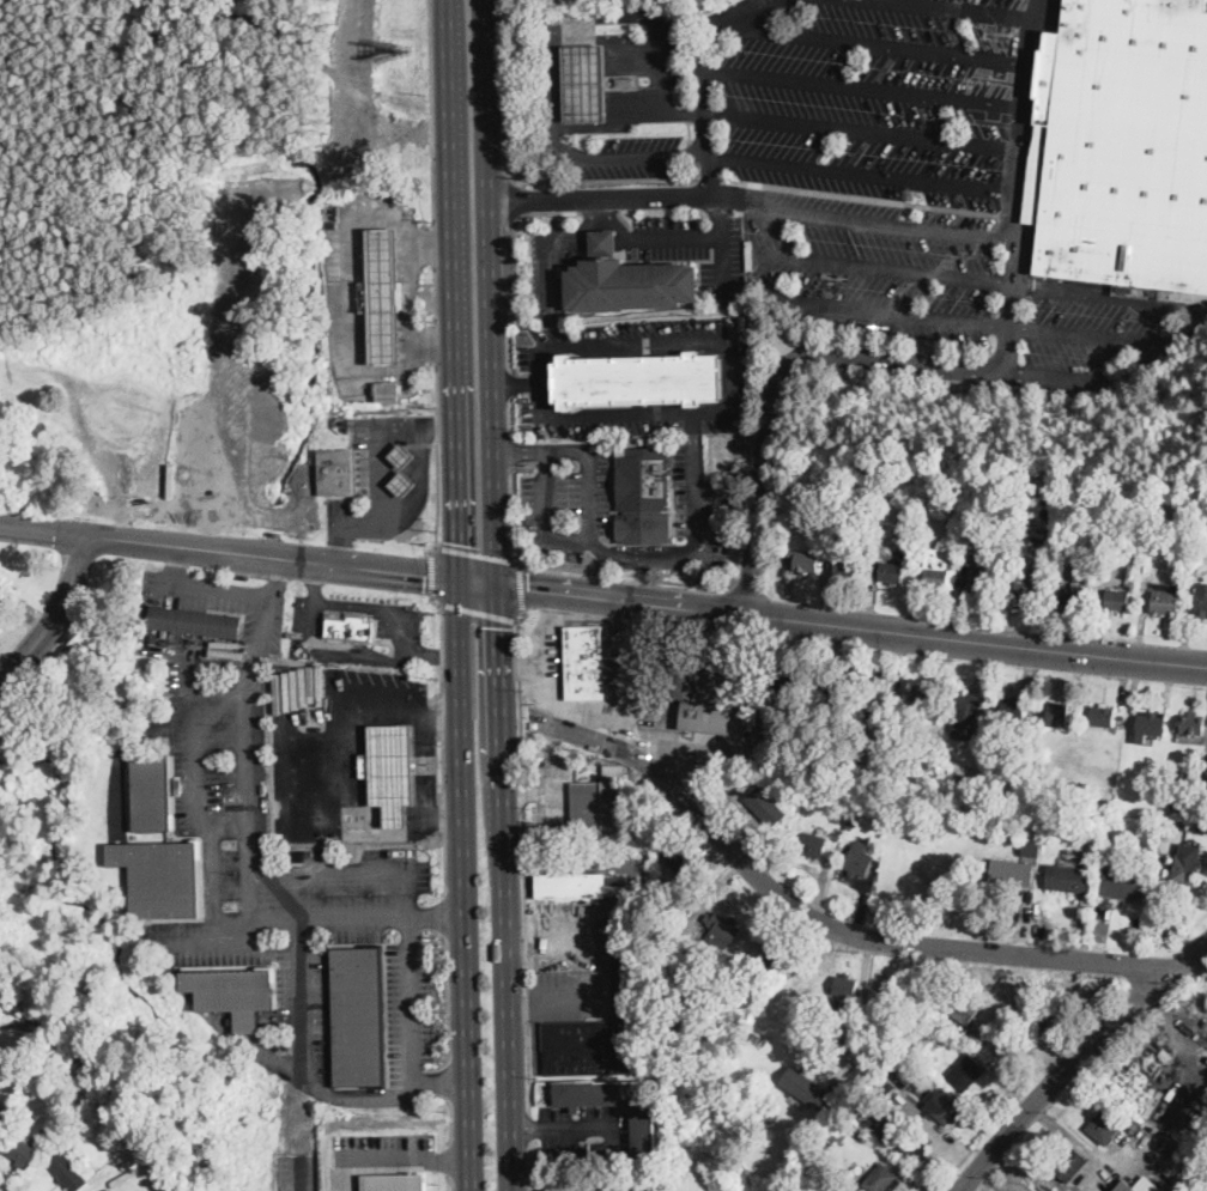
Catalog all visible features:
road: (959, 8)
road: (744, 22)
road: (576, 38)
road: (879, 44)
building: (625, 81)
building: (583, 83)
gas station: (583, 83)
road: (502, 85)
road: (863, 89)
road: (431, 111)
road: (629, 117)
road: (862, 129)
building: (1122, 145)
road: (630, 154)
parking lot: (633, 158)
road: (862, 172)
road: (709, 178)
road: (568, 180)
parking lot: (909, 182)
road: (675, 193)
road: (509, 194)
road: (860, 196)
road: (720, 212)
road: (1011, 214)
road: (601, 215)
road: (1021, 217)
road: (861, 219)
road: (625, 236)
road: (432, 244)
building: (606, 244)
road: (512, 260)
road: (884, 266)
building: (636, 282)
road: (450, 290)
road: (435, 291)
road: (491, 293)
building: (383, 297)
gas station: (383, 297)
road: (888, 310)
road: (1195, 323)
road: (352, 336)
road: (433, 339)
road: (436, 340)
road: (946, 365)
road: (733, 376)
road: (1055, 376)
building: (635, 378)
road: (509, 381)
road: (516, 383)
building: (10, 388)
road: (437, 388)
building: (387, 391)
road: (510, 414)
road: (437, 425)
road: (695, 429)
road: (510, 449)
road: (377, 452)
road: (520, 452)
building: (402, 456)
gas station: (402, 456)
building: (336, 472)
building: (402, 484)
building: (642, 494)
road: (728, 498)
road: (438, 500)
building: (927, 502)
road: (410, 505)
building: (848, 505)
road: (590, 518)
building: (824, 523)
building: (1199, 524)
road: (43, 529)
building: (1199, 534)
building: (824, 536)
building: (1156, 539)
traffic signals: (455, 542)
building: (972, 549)
road: (475, 553)
road: (272, 555)
building: (806, 561)
road: (176, 564)
building: (1080, 564)
building: (848, 566)
building: (885, 570)
road: (581, 571)
building: (936, 571)
traffic signals: (424, 575)
road: (431, 575)
road: (278, 578)
road: (315, 582)
building: (1029, 582)
road: (477, 583)
building: (984, 583)
road: (521, 588)
traffic signals: (529, 589)
road: (244, 591)
building: (1072, 594)
building: (1117, 598)
building: (1166, 598)
building: (1201, 601)
road: (478, 610)
road: (56, 615)
road: (442, 619)
building: (195, 621)
building: (348, 626)
traffic signals: (499, 626)
road: (851, 626)
road: (540, 644)
road: (430, 655)
road: (442, 656)
road: (402, 657)
building: (584, 662)
road: (443, 681)
building: (835, 687)
building: (877, 693)
building: (924, 694)
building: (708, 697)
building: (1166, 699)
building: (1015, 710)
road: (547, 711)
road: (615, 715)
building: (966, 715)
building: (1059, 715)
building: (1103, 716)
road: (443, 717)
building: (1193, 723)
building: (1150, 724)
building: (887, 745)
building: (948, 747)
road: (443, 770)
road: (339, 771)
building: (394, 771)
building: (152, 792)
building: (833, 795)
building: (860, 803)
building: (878, 803)
building: (1203, 803)
building: (1183, 804)
building: (601, 806)
building: (765, 807)
road: (443, 818)
building: (848, 824)
building: (1184, 826)
road: (230, 827)
building: (1165, 833)
building: (278, 835)
building: (812, 843)
building: (1031, 847)
road: (213, 856)
building: (681, 856)
road: (522, 857)
building: (859, 858)
road: (248, 863)
road: (445, 863)
building: (1150, 863)
building: (1187, 863)
road: (358, 870)
building: (1012, 873)
building: (159, 877)
building: (1068, 877)
road: (462, 885)
building: (570, 885)
building: (1123, 886)
road: (504, 888)
road: (447, 916)
road: (436, 918)
road: (832, 928)
building: (722, 929)
building: (675, 943)
building: (776, 956)
building: (672, 961)
building: (742, 972)
building: (882, 984)
building: (845, 985)
building: (933, 989)
building: (232, 993)
road: (448, 1001)
building: (962, 1005)
building: (1051, 1008)
building: (357, 1016)
building: (916, 1019)
building: (600, 1031)
building: (754, 1035)
building: (1031, 1035)
building: (861, 1044)
road: (1081, 1059)
building: (865, 1065)
building: (918, 1068)
building: (965, 1072)
building: (882, 1081)
road: (449, 1082)
road: (441, 1083)
building: (805, 1086)
building: (917, 1094)
road: (329, 1095)
building: (66, 1105)
building: (946, 1111)
road: (450, 1123)
building: (81, 1124)
road: (527, 1125)
building: (878, 1126)
building: (1104, 1126)
building: (644, 1132)
building: (910, 1146)
building: (20, 1150)
road: (376, 1157)
road: (451, 1157)
building: (582, 1159)
road: (451, 1161)
building: (1070, 1165)
road: (528, 1166)
building: (68, 1172)
building: (881, 1179)
building: (394, 1181)
road: (451, 1185)
building: (1123, 1186)

